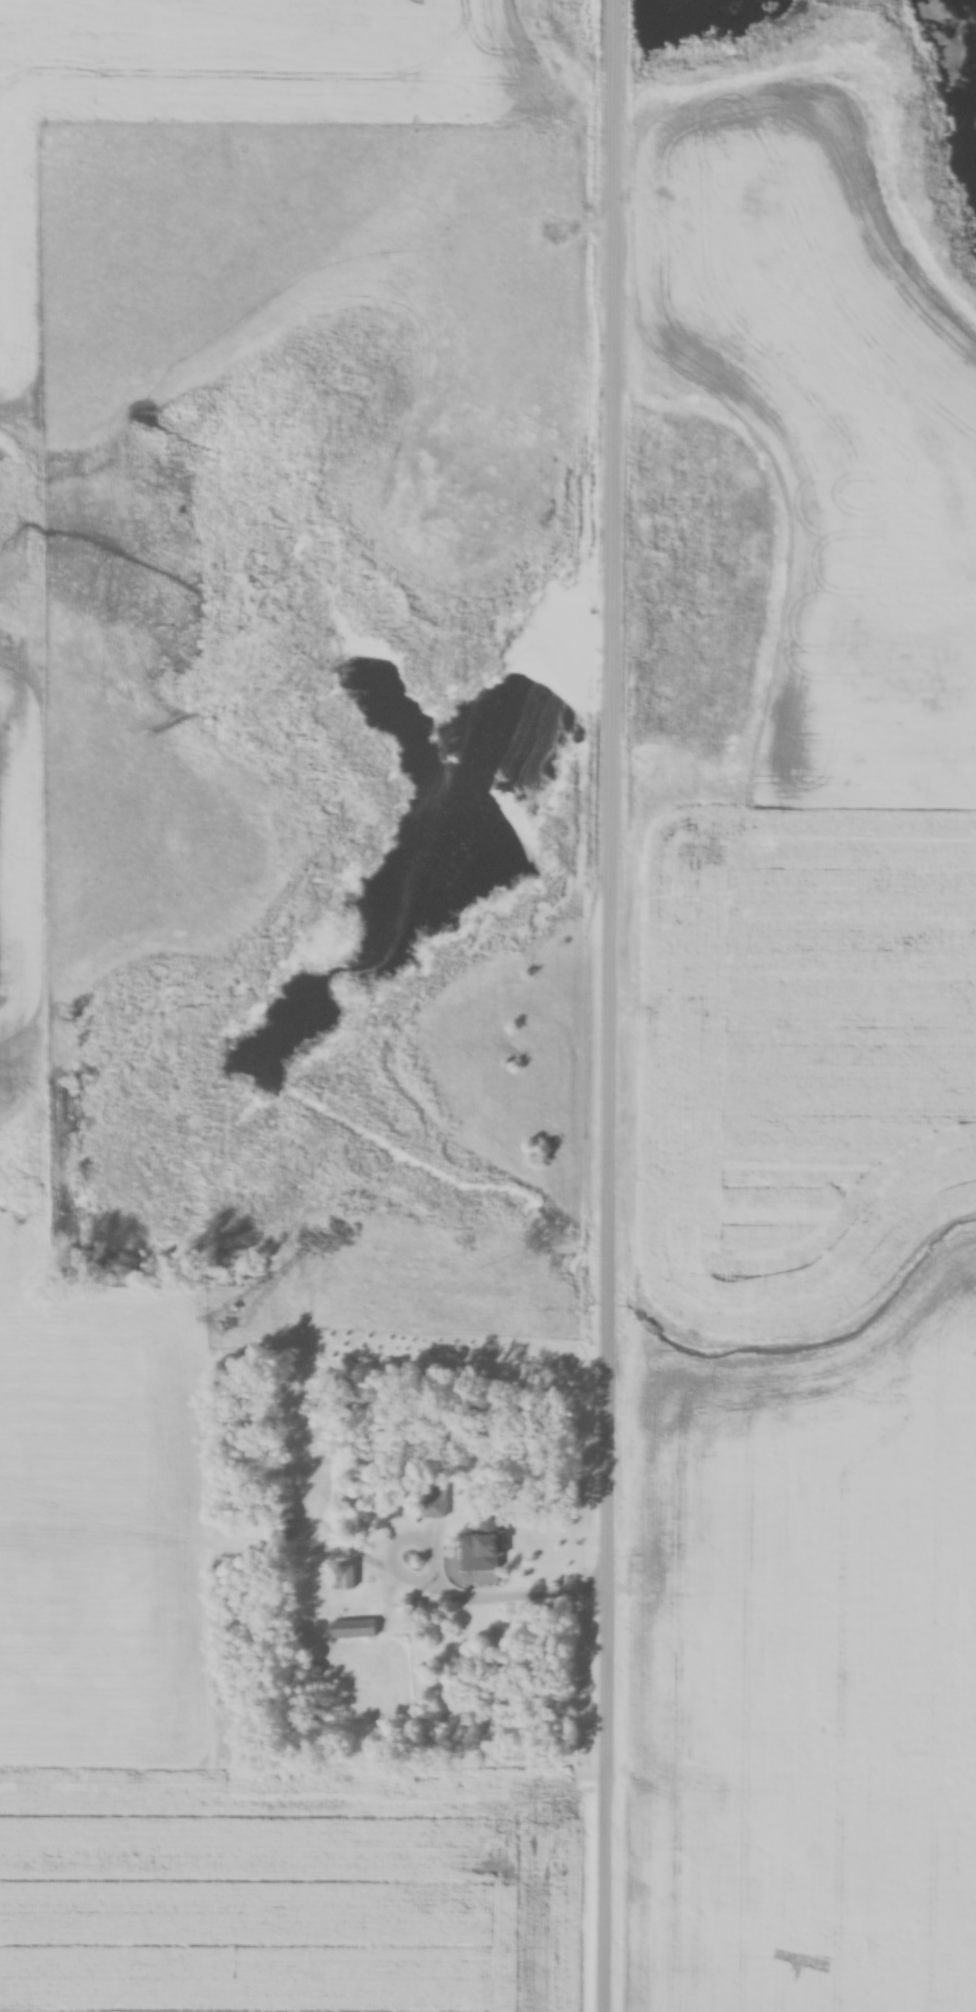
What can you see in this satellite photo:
road: (612, 1005)
power tower: (228, 1318)
building: (488, 1546)
building: (343, 1578)
building: (353, 1629)

